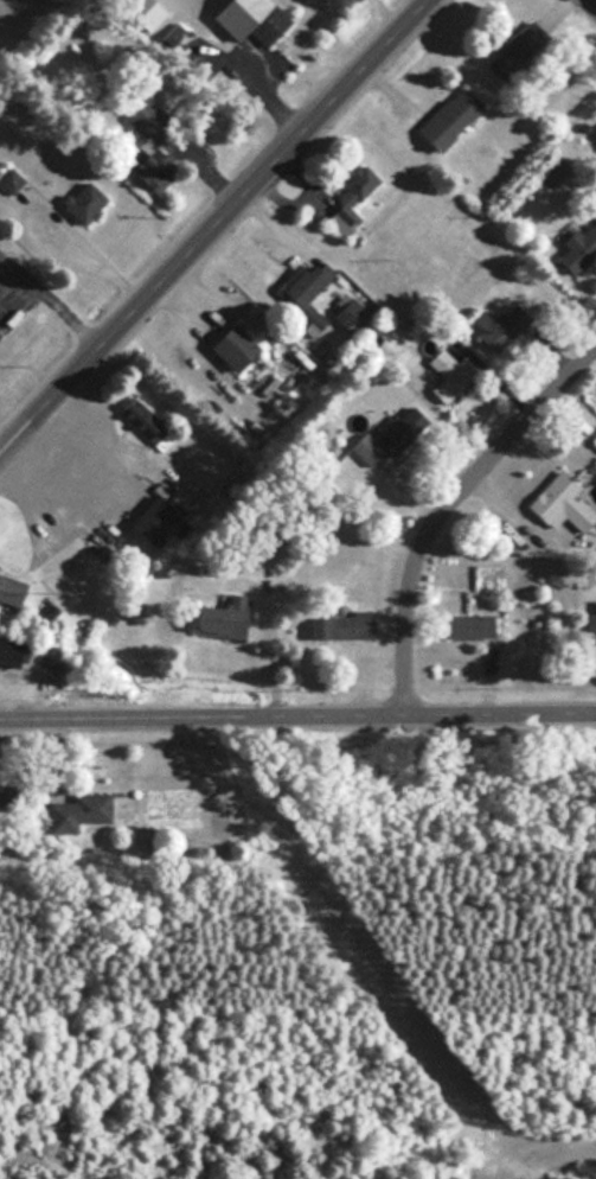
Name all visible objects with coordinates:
road: (589, 6)
building: (139, 14)
building: (246, 19)
building: (513, 51)
building: (444, 119)
building: (146, 120)
building: (143, 167)
building: (346, 200)
road: (41, 202)
building: (79, 203)
road: (213, 227)
building: (576, 248)
road: (13, 267)
road: (13, 289)
building: (300, 292)
road: (63, 313)
building: (500, 327)
building: (229, 346)
building: (447, 375)
building: (137, 418)
building: (385, 436)
road: (470, 482)
building: (76, 487)
building: (558, 504)
building: (148, 520)
building: (8, 589)
building: (213, 620)
building: (338, 626)
building: (462, 626)
building: (4, 650)
road: (297, 720)
building: (8, 799)
building: (75, 811)

